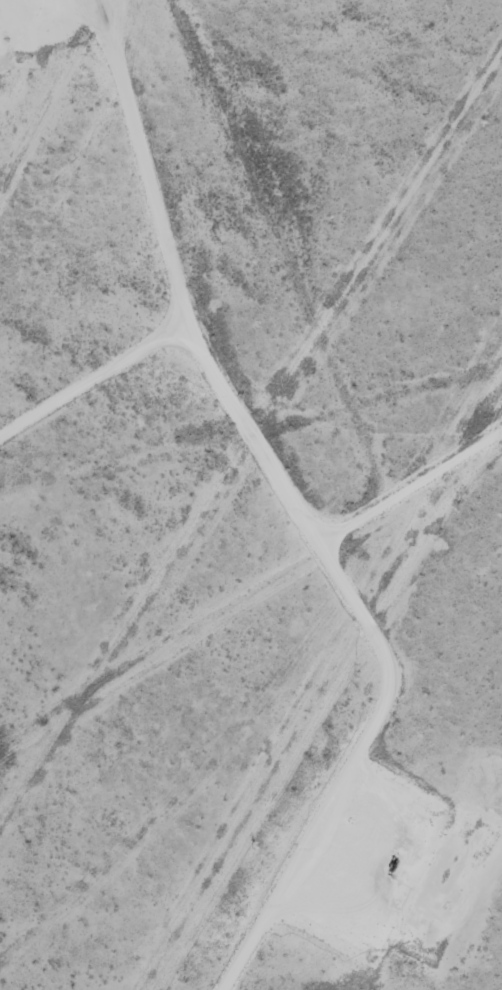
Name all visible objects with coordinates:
road: (135, 163)
road: (326, 565)

